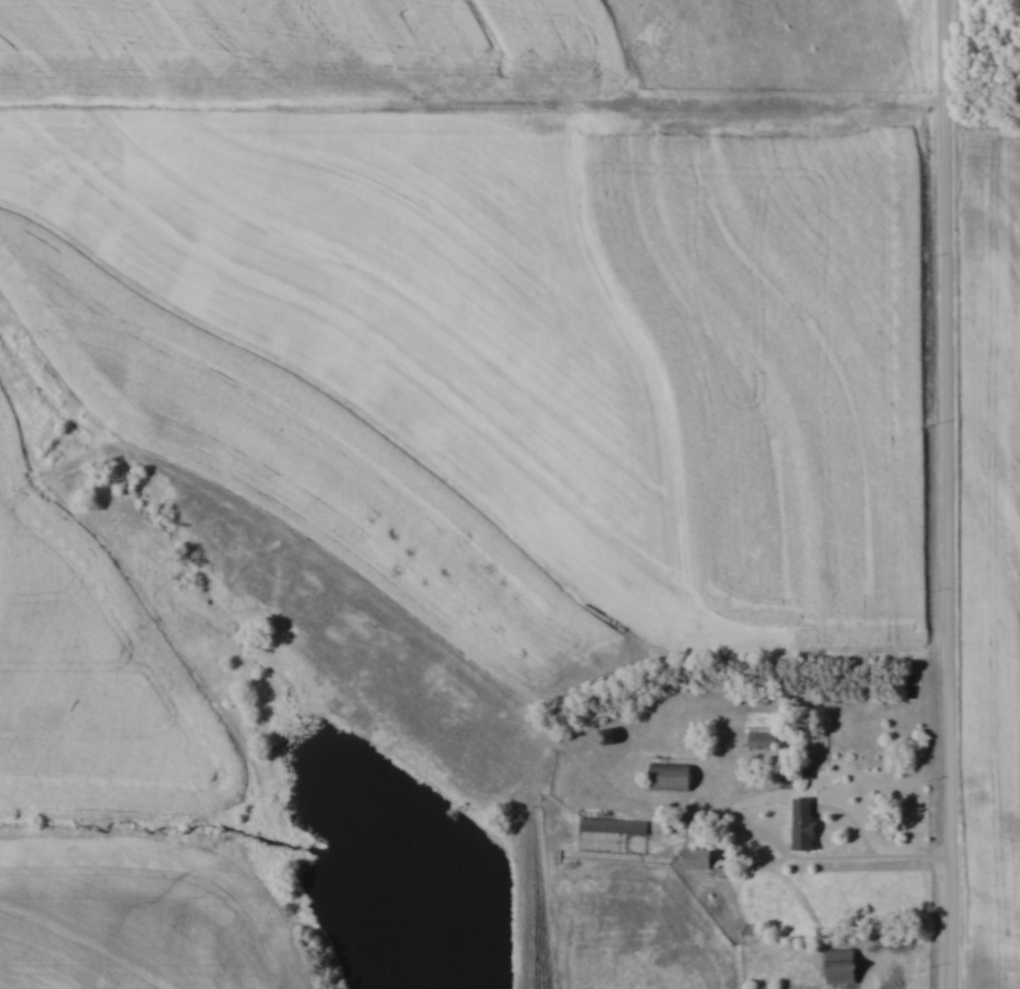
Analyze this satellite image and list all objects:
road: (953, 494)
building: (762, 741)
building: (673, 777)
building: (614, 825)
building: (806, 825)
building: (703, 859)
road: (865, 860)
building: (843, 967)

